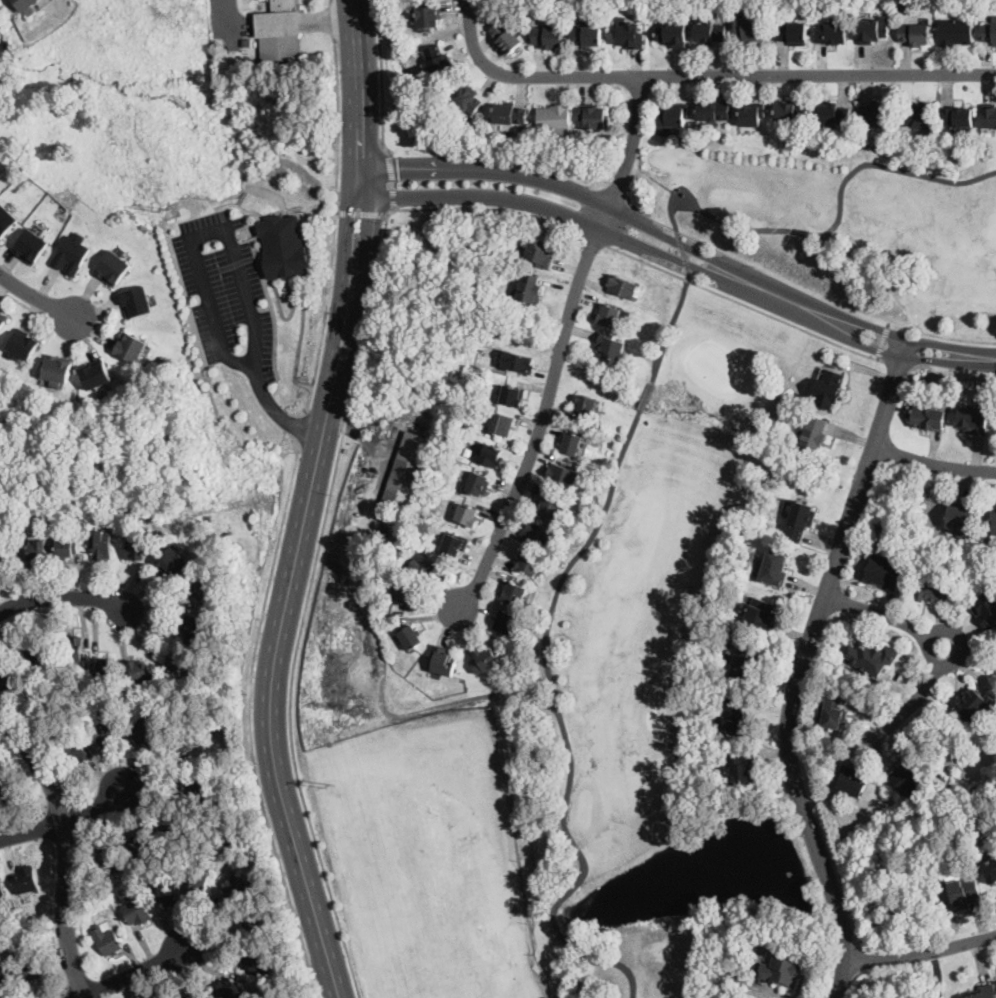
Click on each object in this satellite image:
building: (26, 5)
building: (807, 6)
building: (725, 9)
building: (429, 15)
road: (230, 20)
building: (750, 28)
building: (873, 29)
building: (279, 31)
building: (709, 31)
building: (956, 31)
building: (989, 31)
building: (792, 32)
building: (832, 33)
building: (629, 34)
building: (915, 34)
building: (586, 35)
building: (672, 35)
building: (548, 36)
building: (505, 37)
building: (247, 42)
building: (0, 49)
building: (212, 50)
building: (438, 61)
road: (705, 75)
road: (382, 77)
building: (468, 99)
building: (715, 111)
building: (792, 111)
building: (752, 113)
building: (510, 114)
building: (835, 114)
building: (595, 115)
building: (877, 115)
building: (989, 115)
building: (672, 117)
building: (916, 117)
building: (555, 119)
building: (960, 119)
road: (632, 142)
road: (393, 179)
power tower: (163, 206)
road: (488, 207)
road: (337, 208)
road: (361, 215)
road: (604, 216)
road: (630, 216)
road: (835, 216)
building: (6, 220)
road: (208, 233)
road: (627, 238)
road: (593, 239)
road: (814, 245)
building: (31, 247)
building: (285, 247)
building: (540, 252)
road: (682, 252)
building: (72, 253)
building: (112, 268)
building: (622, 287)
building: (531, 289)
road: (38, 299)
road: (19, 301)
building: (137, 302)
road: (741, 303)
building: (609, 315)
building: (3, 320)
road: (670, 327)
road: (885, 330)
road: (939, 335)
road: (882, 340)
road: (940, 344)
building: (23, 345)
building: (131, 347)
building: (610, 348)
road: (878, 352)
road: (936, 360)
building: (519, 362)
building: (57, 370)
building: (95, 374)
building: (829, 389)
road: (644, 395)
building: (512, 397)
building: (587, 405)
road: (279, 413)
building: (929, 418)
building: (974, 419)
road: (540, 421)
building: (501, 424)
road: (855, 425)
road: (301, 429)
building: (814, 434)
building: (376, 435)
building: (572, 444)
building: (583, 445)
building: (489, 455)
road: (933, 462)
building: (435, 469)
building: (406, 472)
building: (563, 475)
building: (477, 484)
road: (306, 502)
building: (551, 506)
building: (81, 511)
building: (92, 511)
building: (14, 513)
building: (468, 515)
building: (961, 519)
building: (800, 520)
building: (993, 522)
building: (745, 532)
building: (540, 533)
building: (102, 544)
building: (455, 544)
building: (66, 547)
building: (137, 547)
building: (1, 550)
building: (36, 551)
building: (172, 562)
building: (529, 563)
building: (427, 567)
building: (774, 567)
building: (883, 571)
building: (201, 586)
building: (935, 590)
building: (515, 593)
building: (407, 596)
road: (64, 597)
road: (306, 601)
building: (378, 606)
building: (986, 608)
building: (760, 616)
building: (505, 622)
building: (197, 623)
building: (411, 637)
road: (962, 644)
road: (930, 648)
building: (35, 649)
building: (74, 650)
park: (671, 653)
building: (871, 657)
building: (485, 660)
building: (743, 660)
building: (444, 661)
road: (803, 666)
building: (180, 667)
building: (108, 670)
building: (139, 670)
building: (11, 680)
building: (975, 704)
power tower: (359, 708)
building: (833, 710)
building: (734, 716)
road: (559, 722)
road: (250, 724)
building: (105, 727)
building: (147, 728)
building: (176, 747)
building: (78, 750)
building: (738, 767)
road: (32, 770)
building: (910, 774)
building: (853, 781)
power tower: (330, 784)
building: (7, 788)
building: (200, 789)
road: (65, 821)
building: (171, 825)
road: (49, 828)
building: (141, 842)
road: (68, 850)
building: (111, 858)
building: (991, 867)
building: (25, 879)
building: (199, 881)
building: (235, 887)
building: (169, 890)
building: (2, 891)
building: (964, 891)
building: (136, 911)
road: (55, 916)
building: (253, 926)
building: (107, 940)
road: (938, 944)
road: (923, 952)
building: (254, 962)
building: (30, 969)
building: (782, 969)
road: (136, 974)
building: (3, 975)
building: (229, 988)
building: (984, 992)
road: (69, 994)
building: (192, 996)
building: (159, 997)

